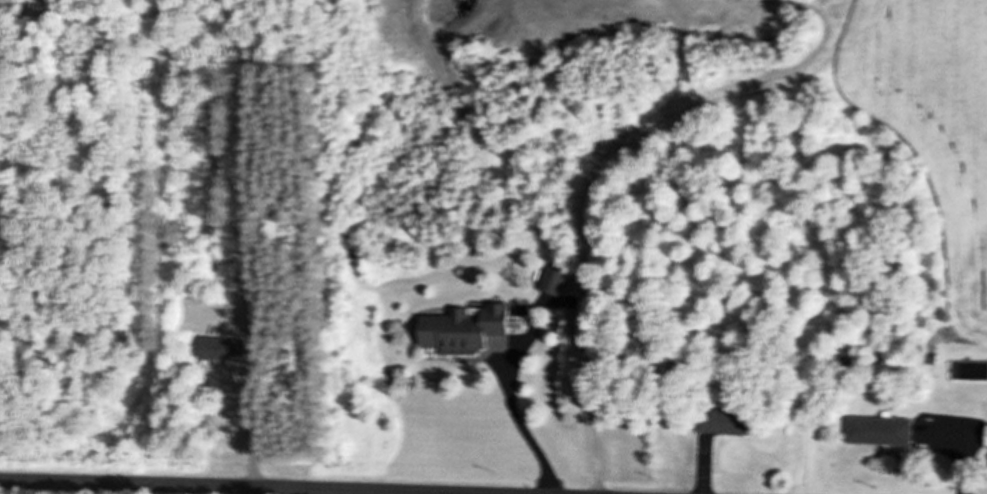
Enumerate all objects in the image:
building: (9, 2)
building: (556, 279)
building: (471, 329)
building: (228, 348)
building: (720, 420)
building: (877, 430)
building: (984, 436)
road: (215, 487)

